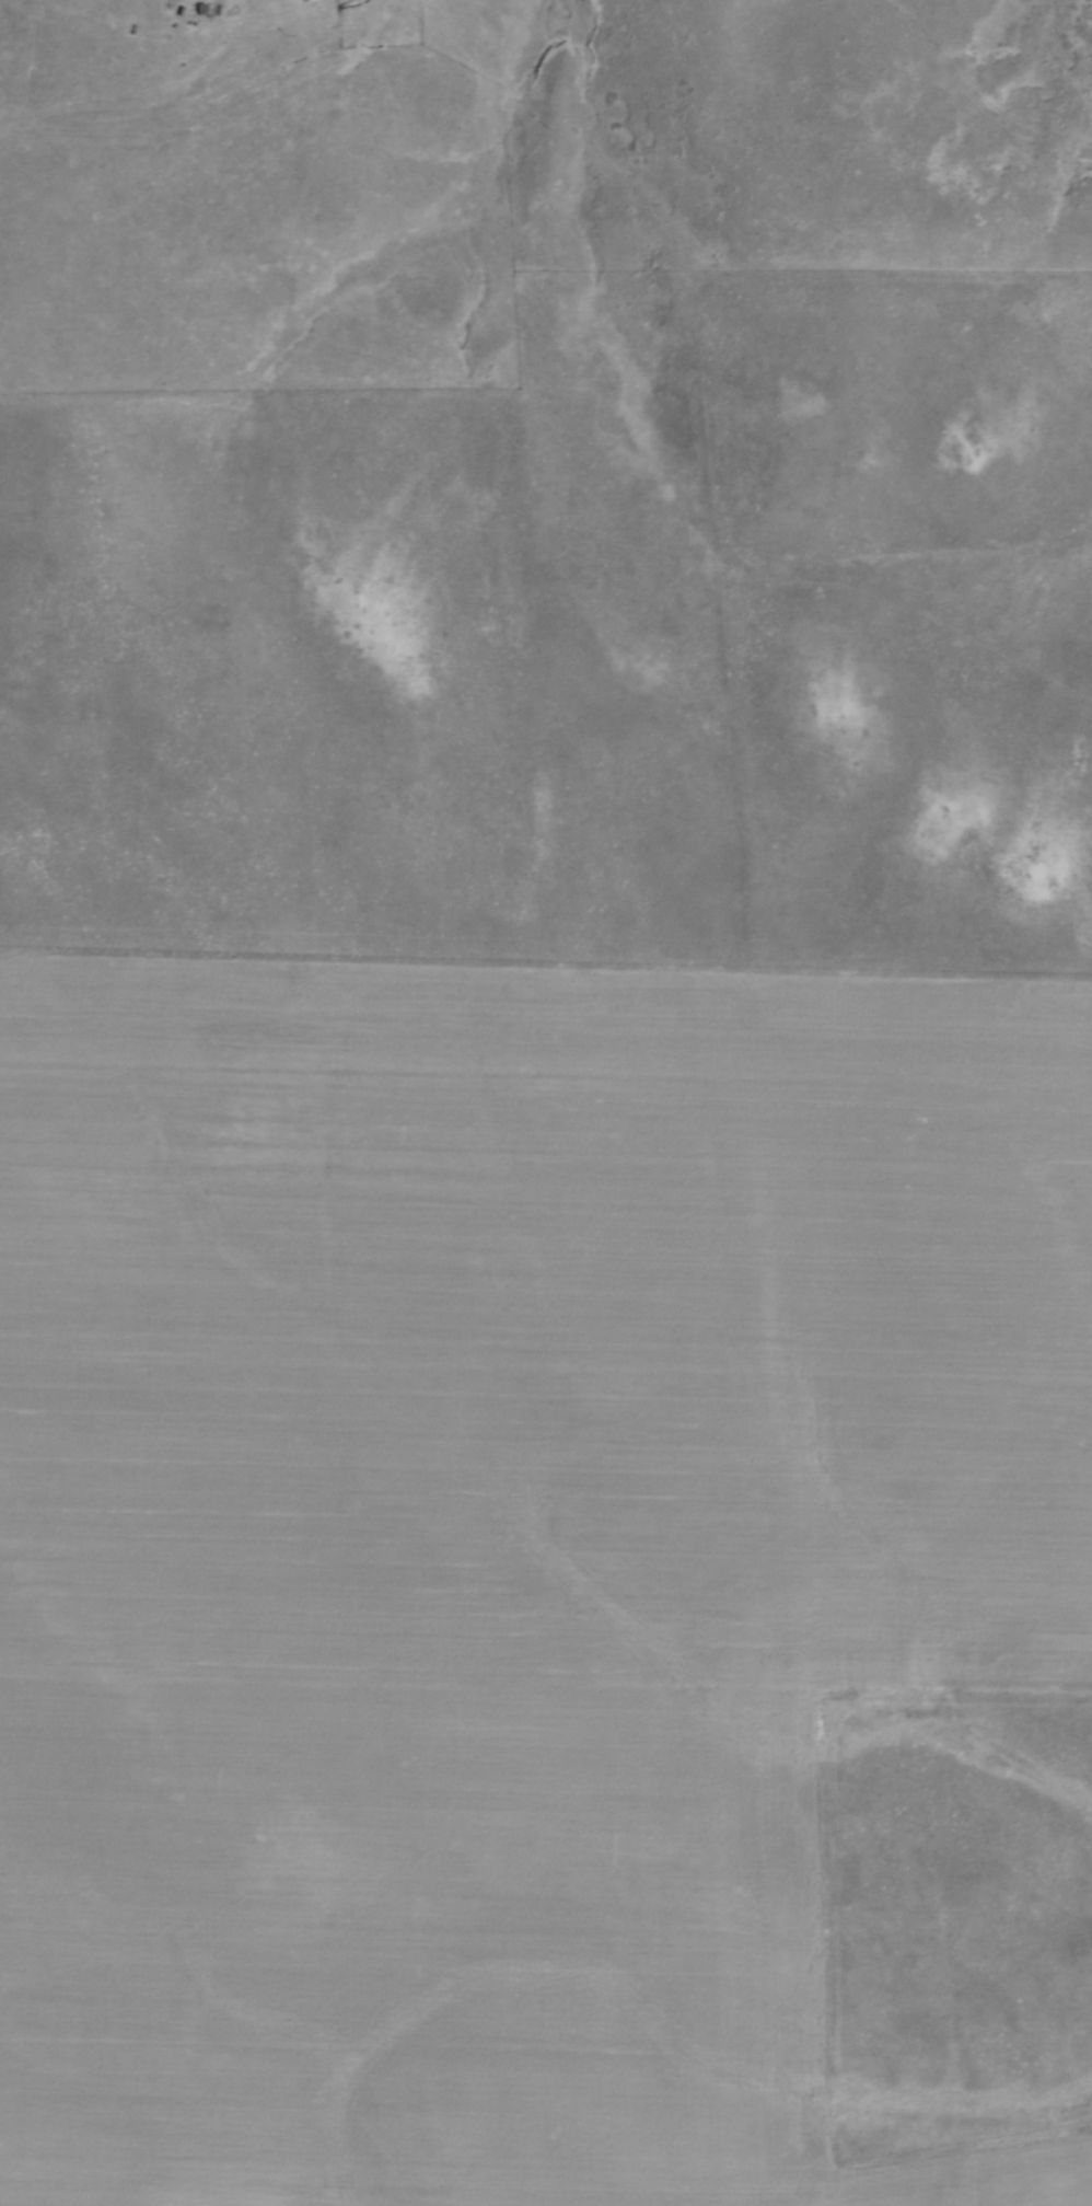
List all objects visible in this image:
building: (204, 4)
crop: (501, 1550)

